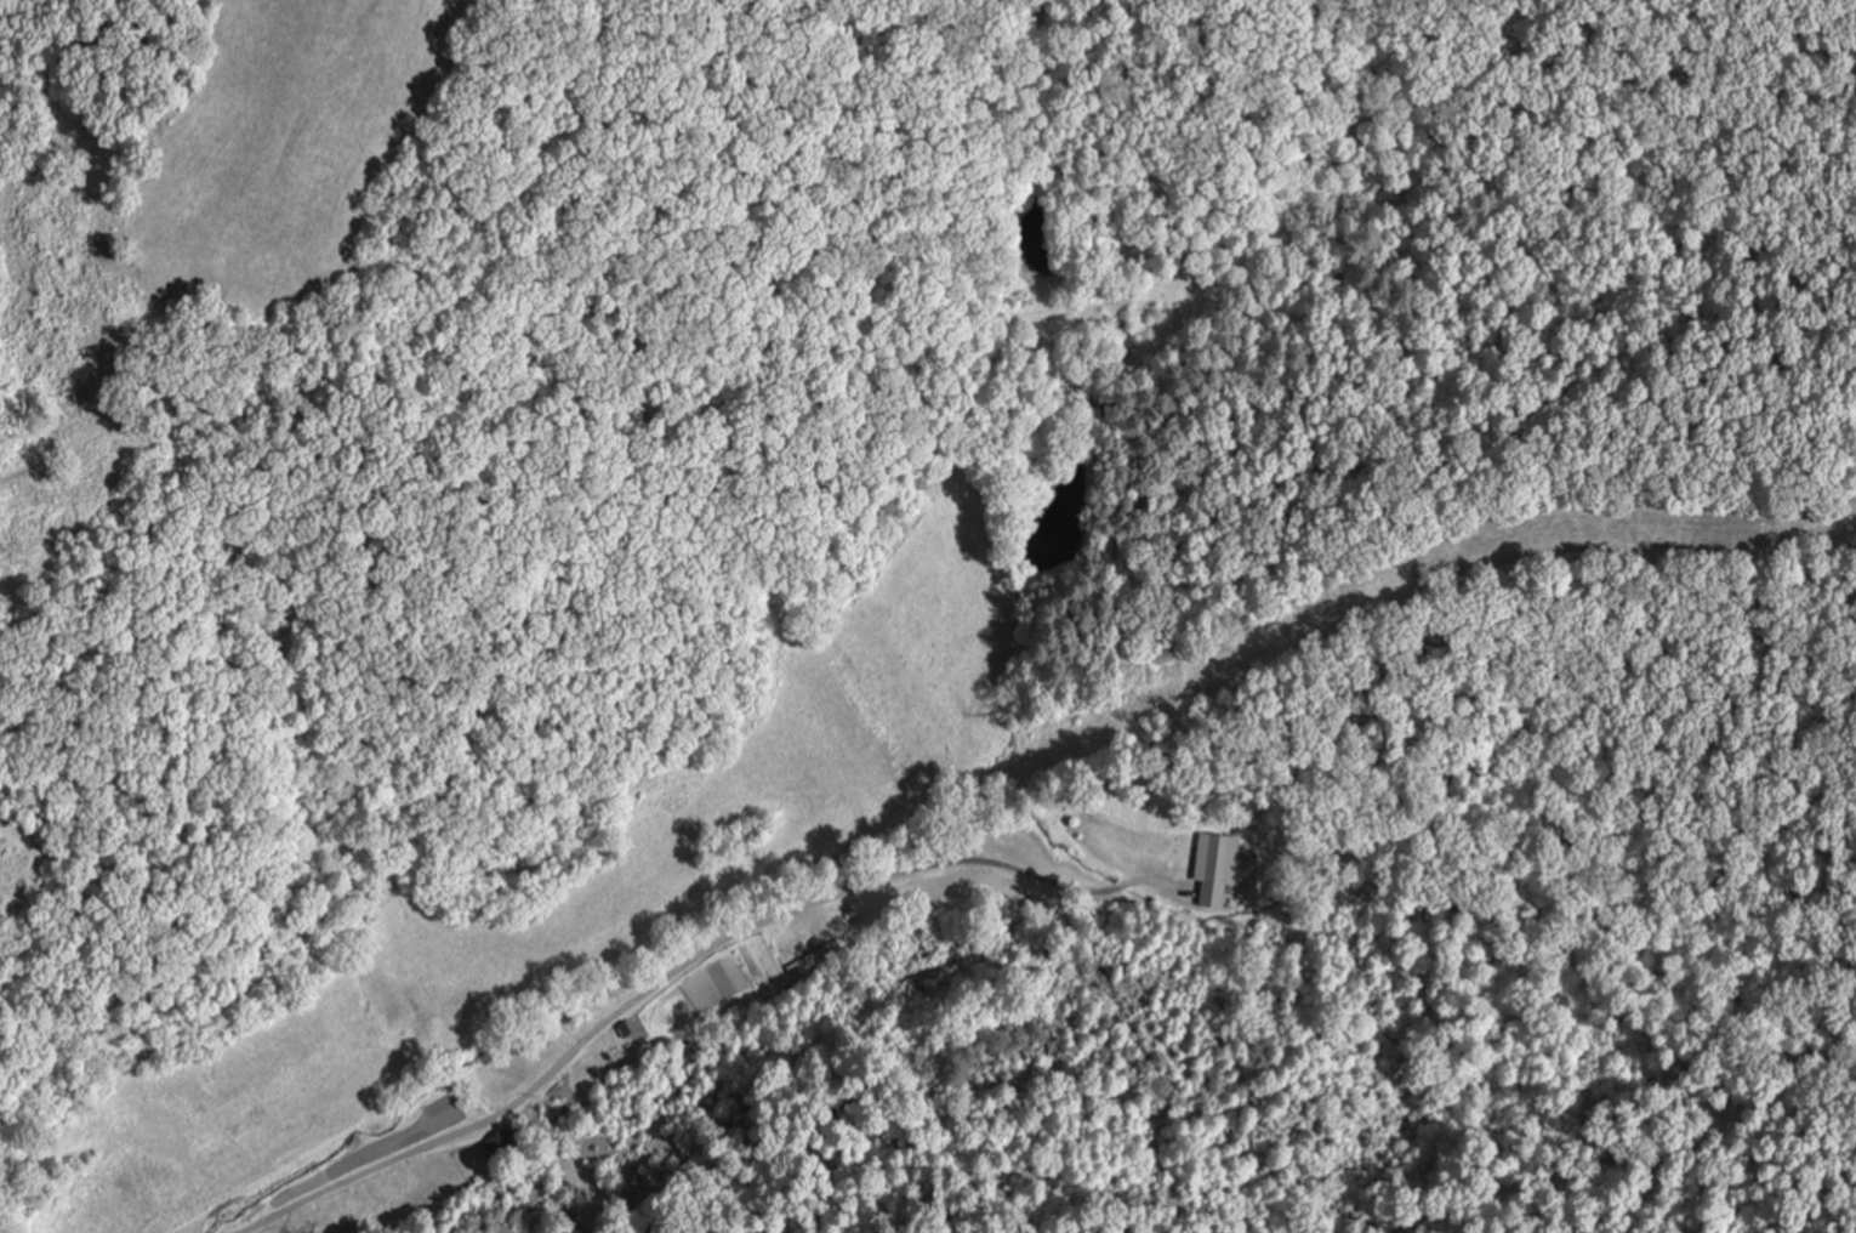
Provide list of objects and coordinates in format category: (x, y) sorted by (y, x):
building: (1213, 866)
building: (502, 1143)

